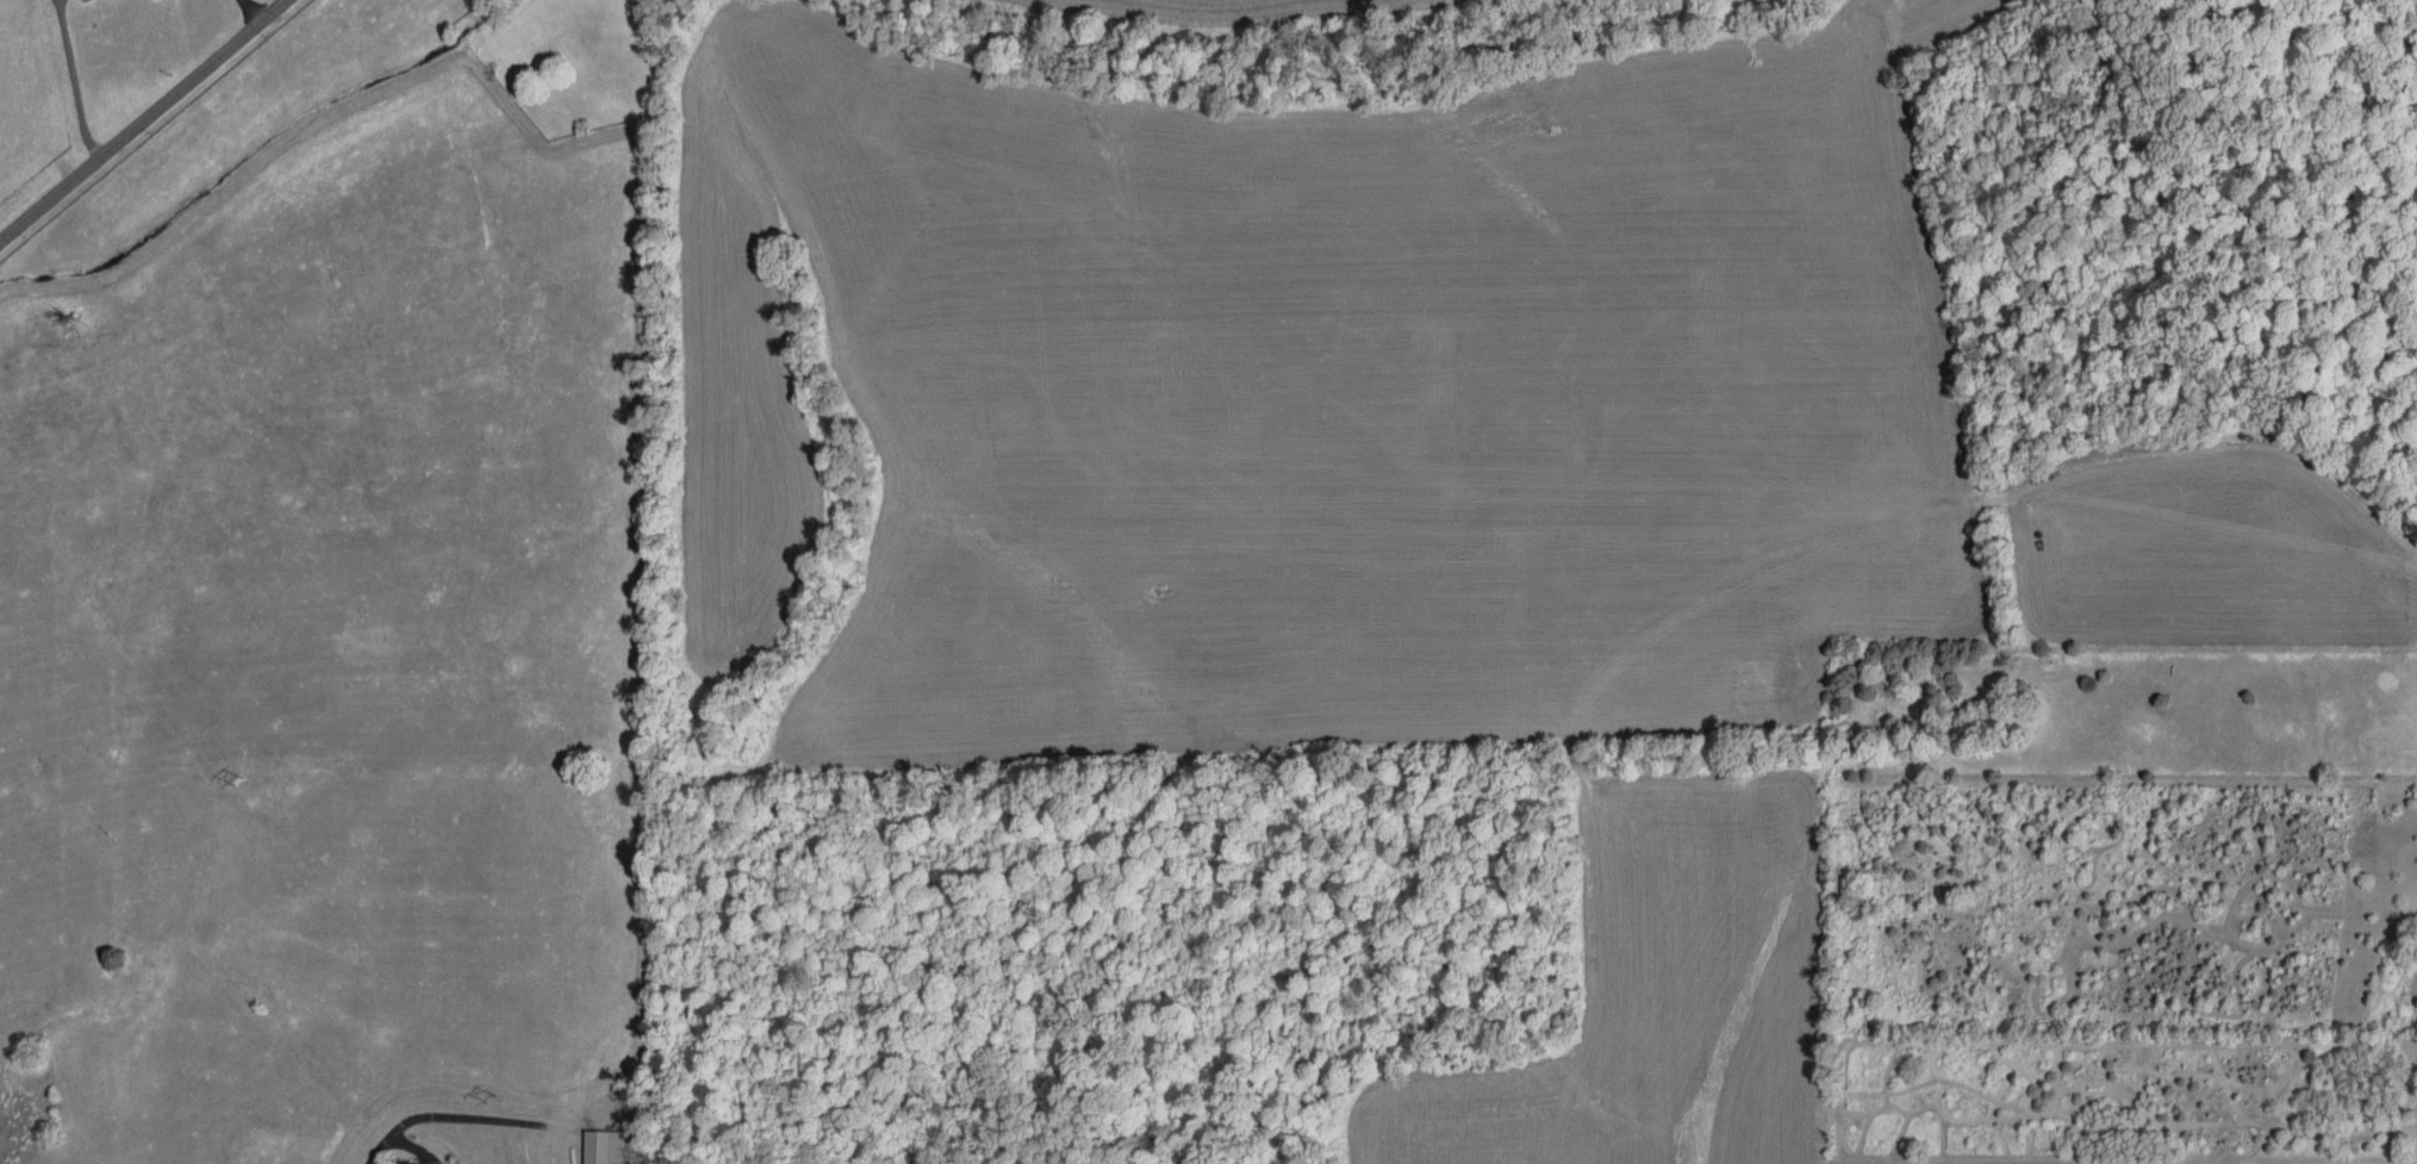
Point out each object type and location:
road: (71, 82)
road: (145, 123)
power tower: (237, 782)
power tower: (488, 1096)
road: (392, 1139)
building: (604, 1146)
building: (400, 1163)

